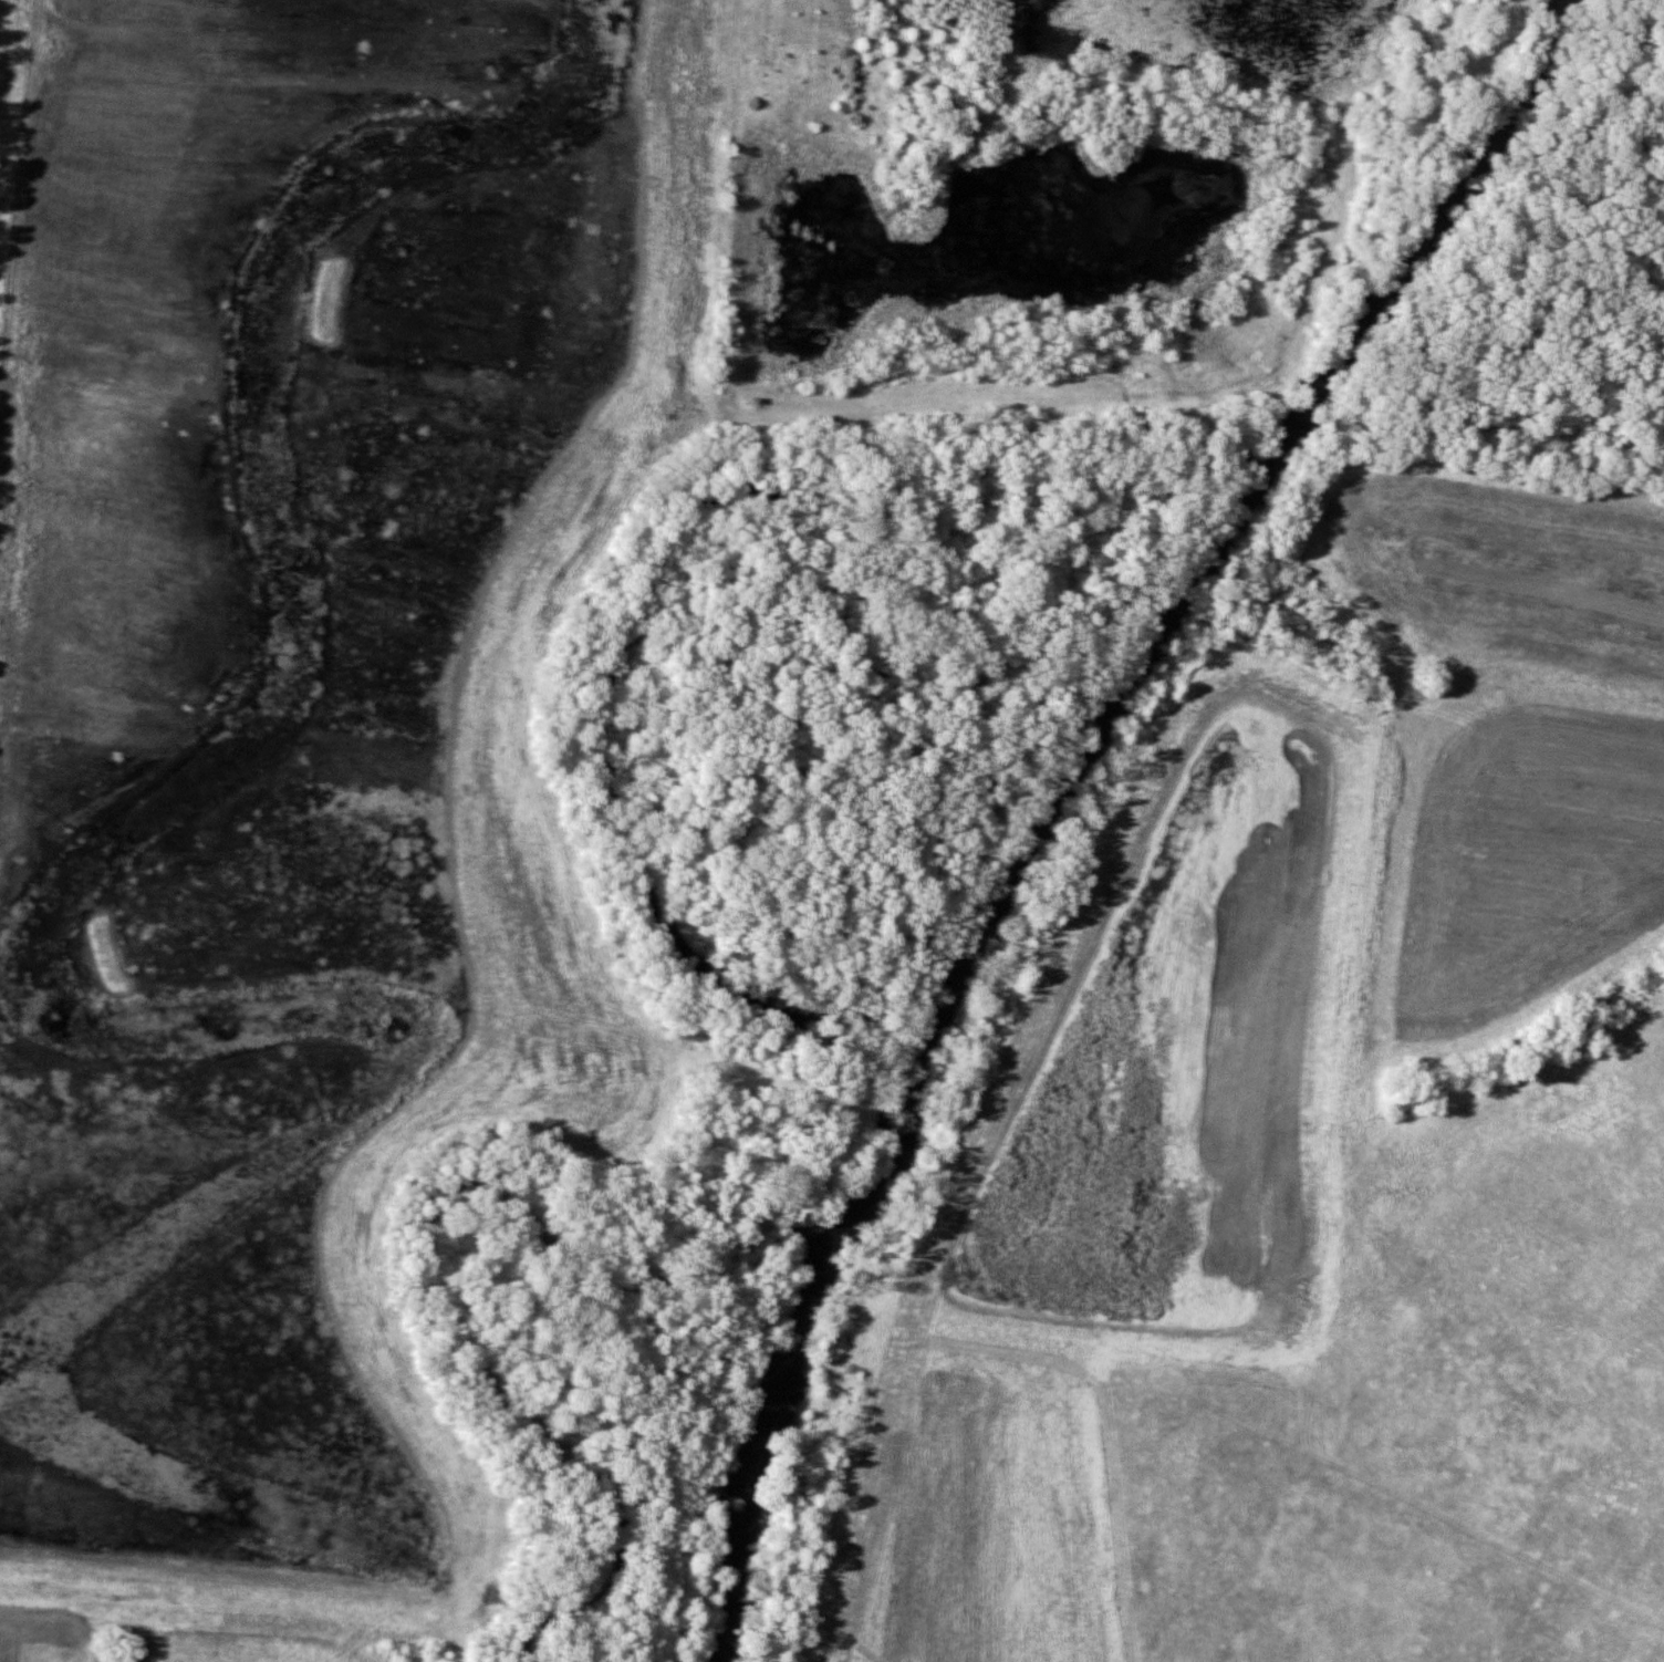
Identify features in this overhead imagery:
river: (1059, 794)

